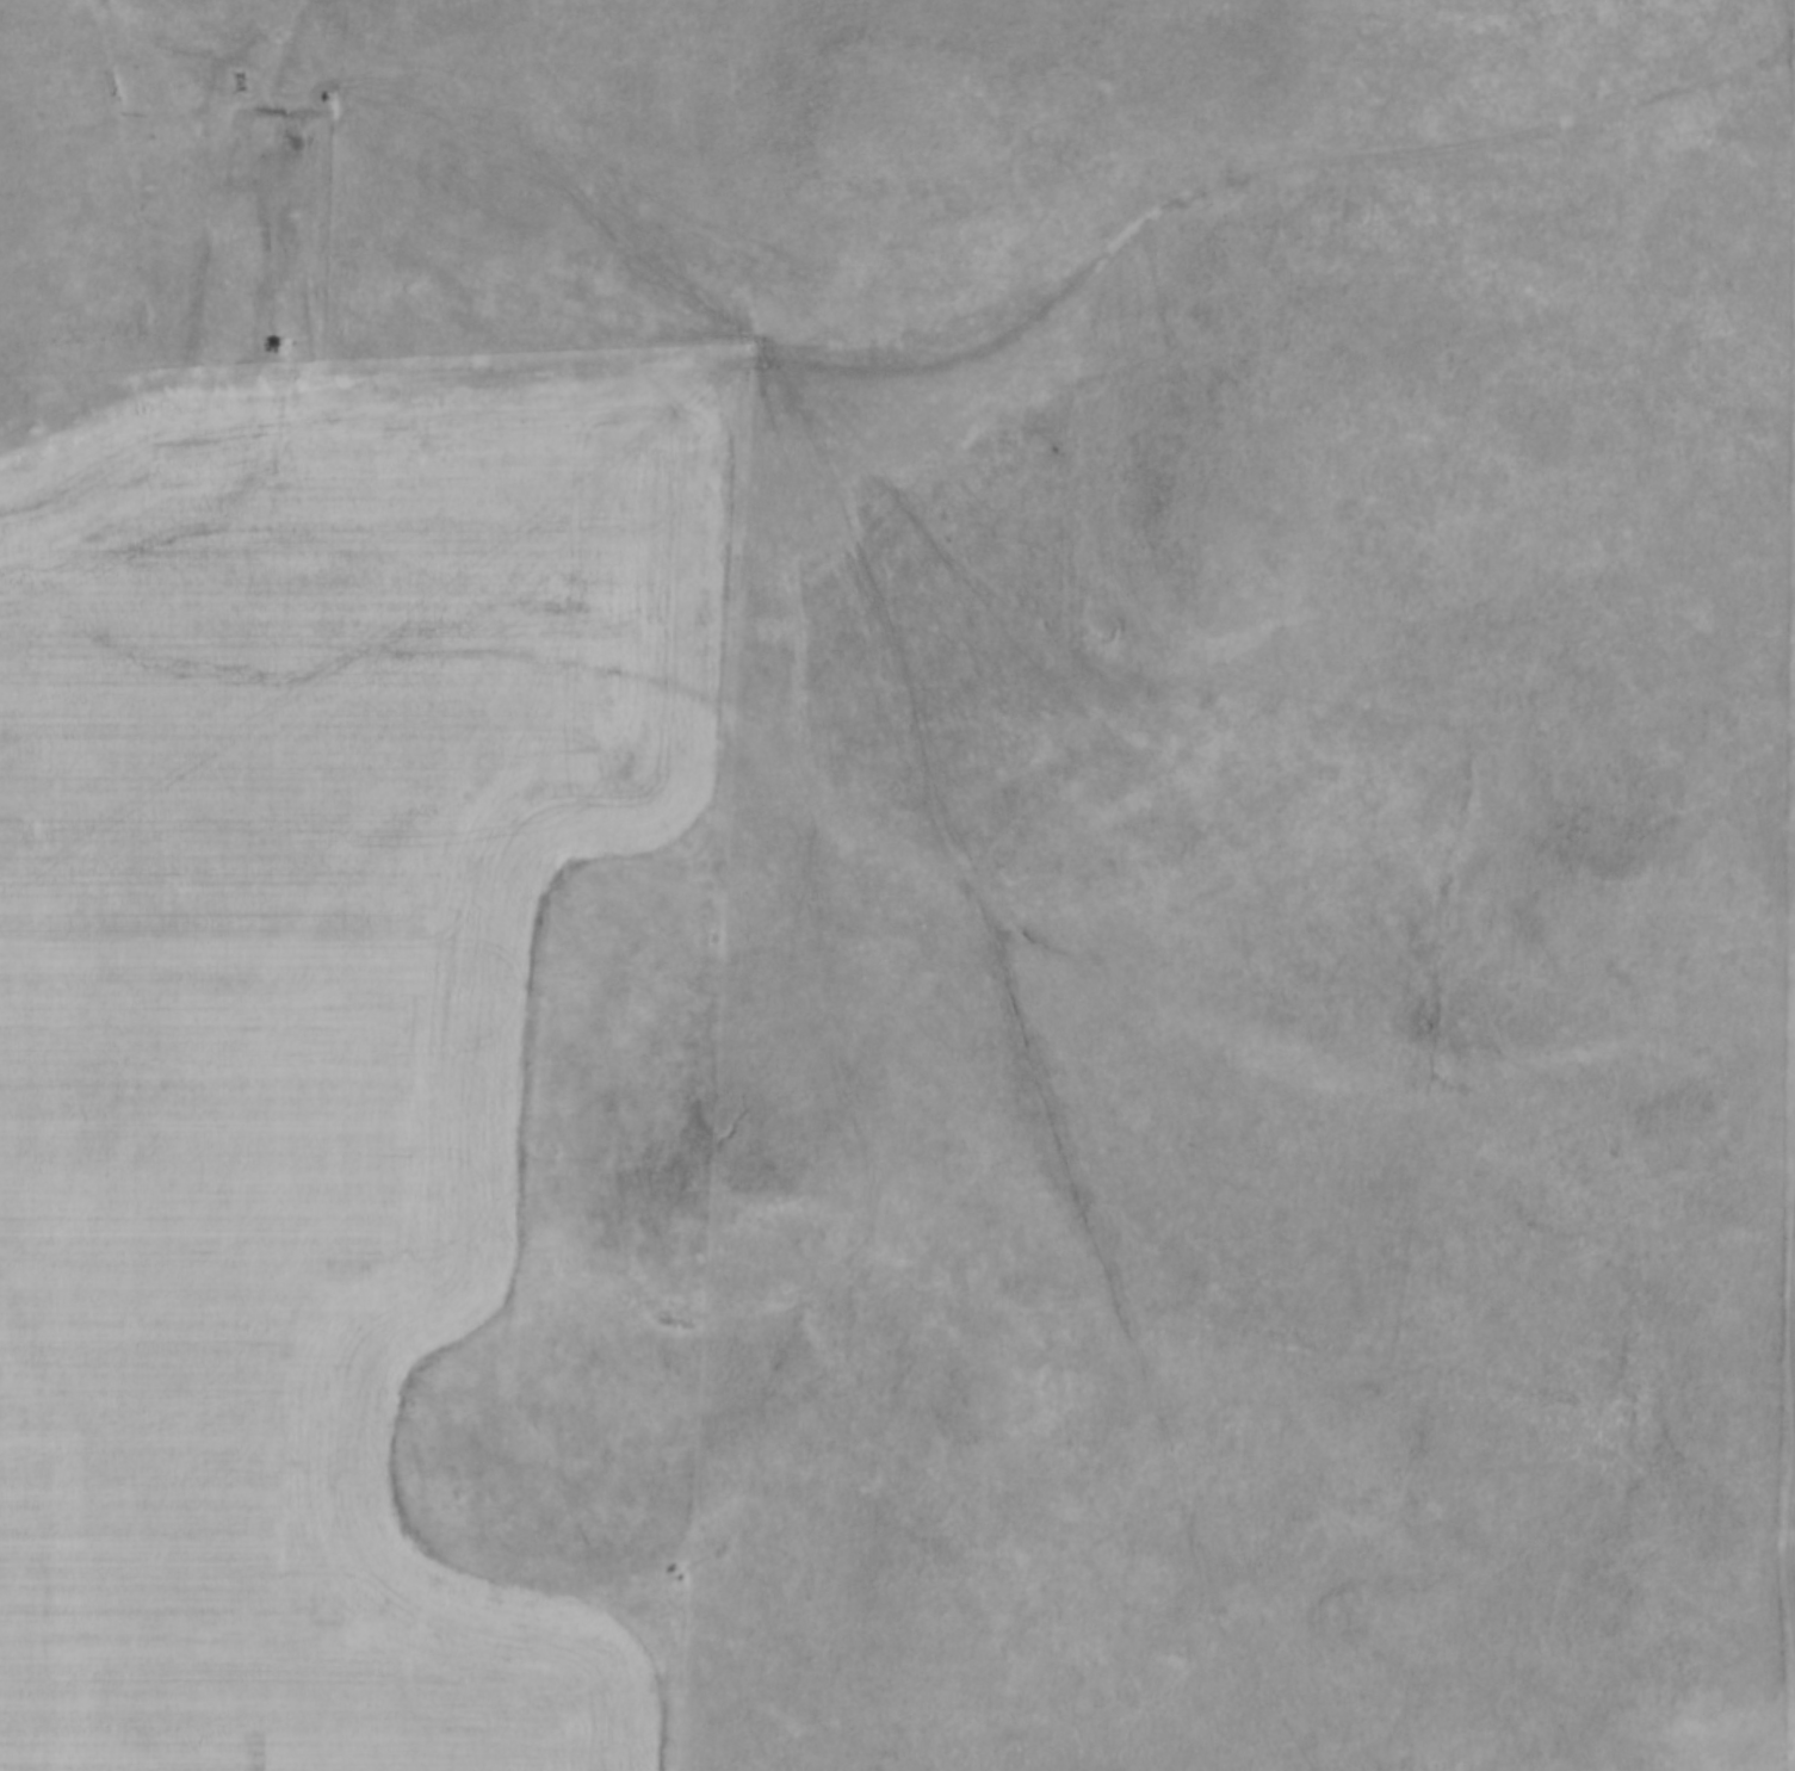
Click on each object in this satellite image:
road: (921, 365)

